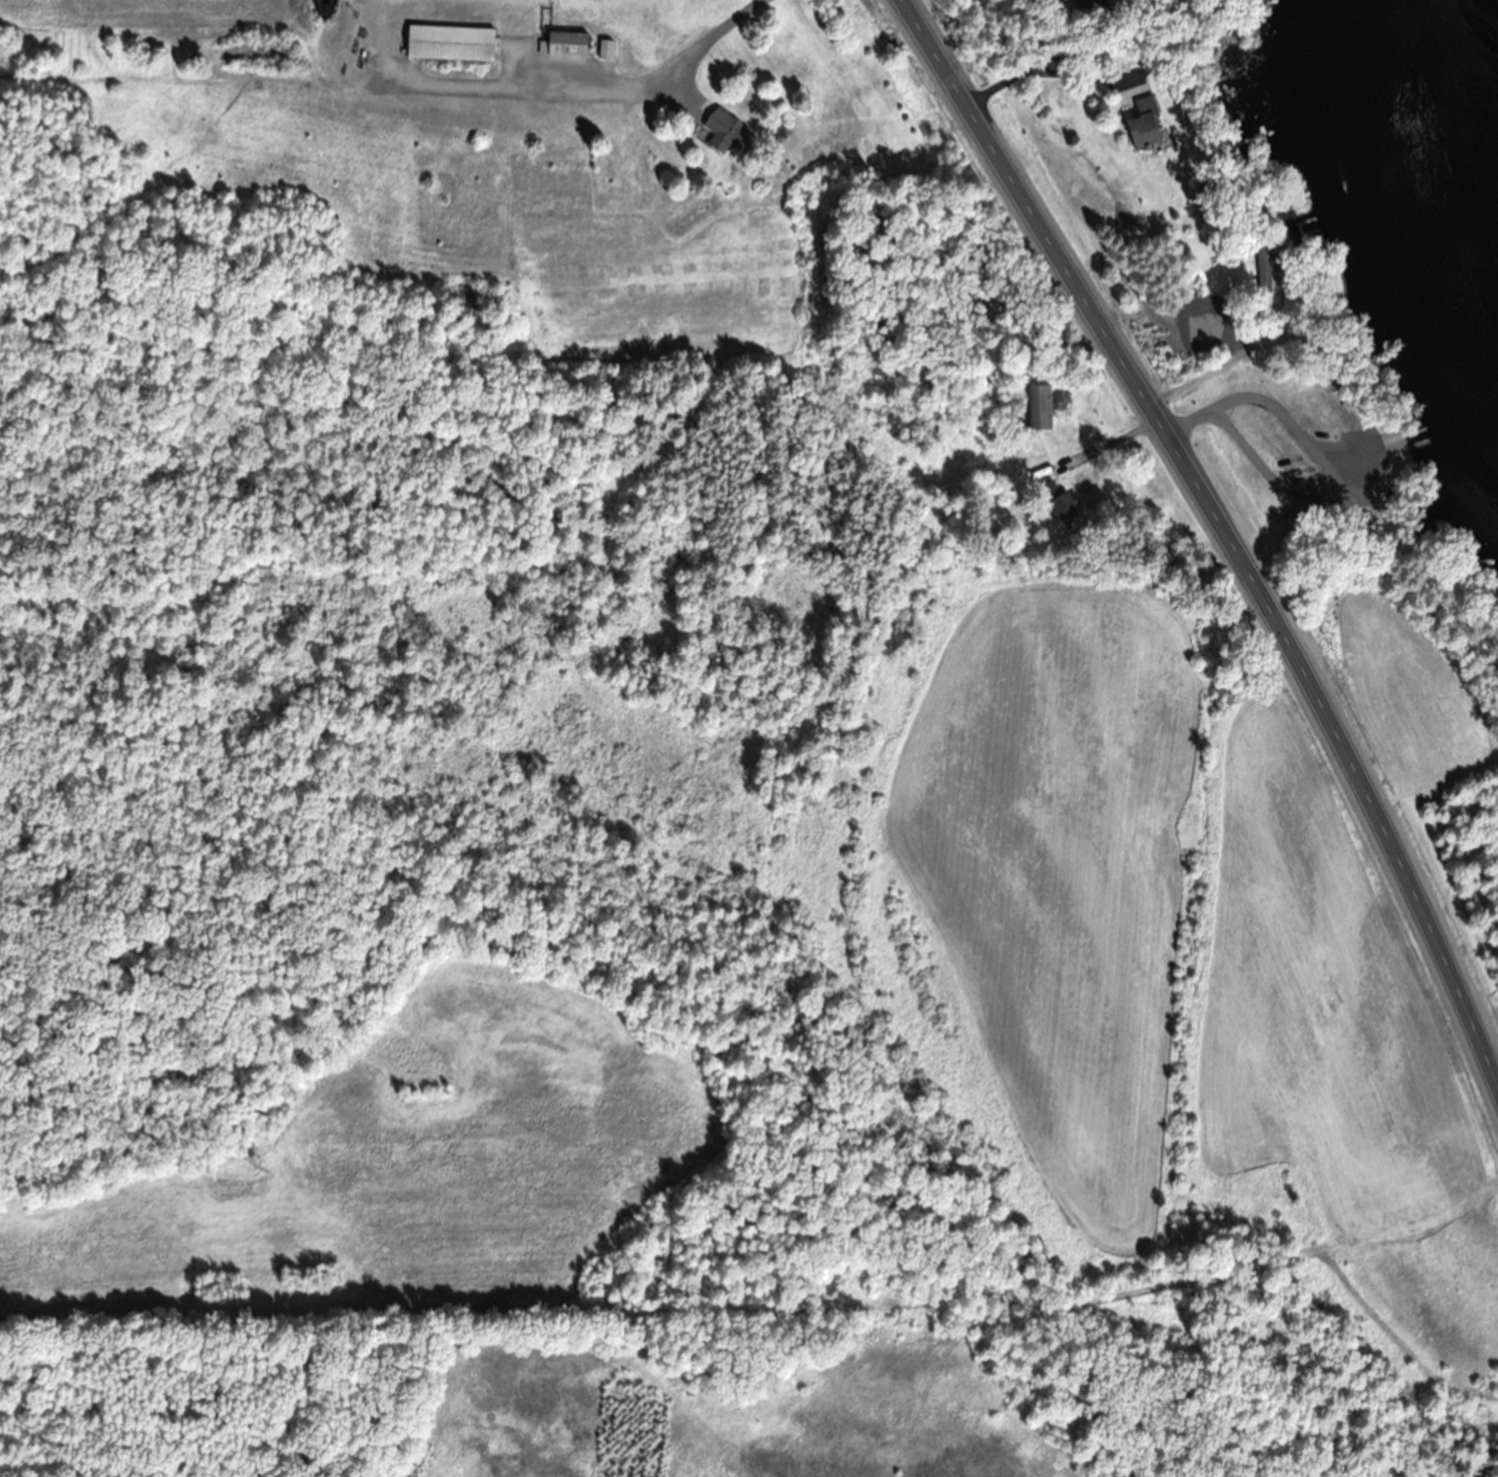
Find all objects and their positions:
building: (1079, 0)
building: (451, 42)
building: (565, 43)
building: (1145, 123)
building: (730, 132)
building: (1038, 407)
building: (1066, 506)
road: (1221, 530)

